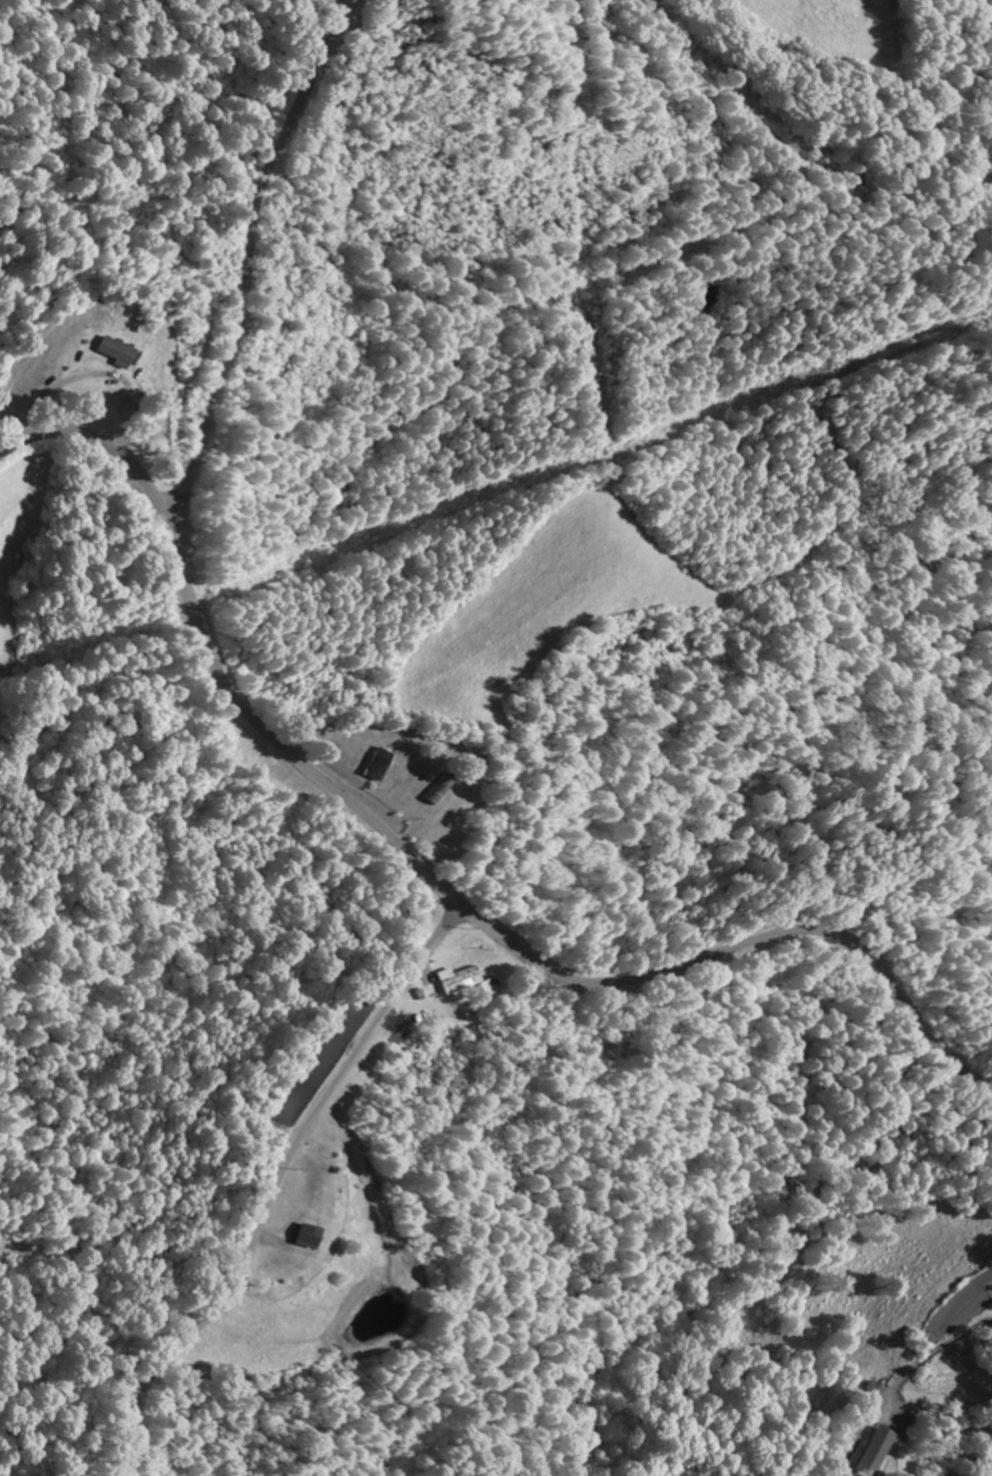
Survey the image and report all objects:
road: (245, 248)
building: (110, 351)
building: (377, 763)
building: (392, 775)
building: (438, 787)
road: (431, 872)
building: (458, 979)
road: (279, 1185)

